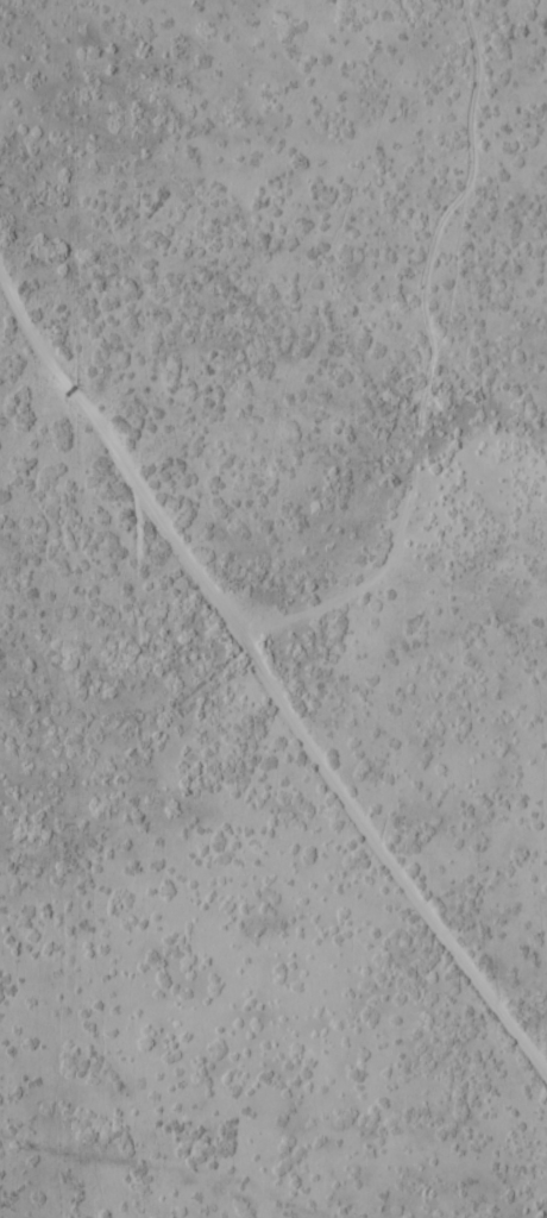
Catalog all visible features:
road: (269, 671)

